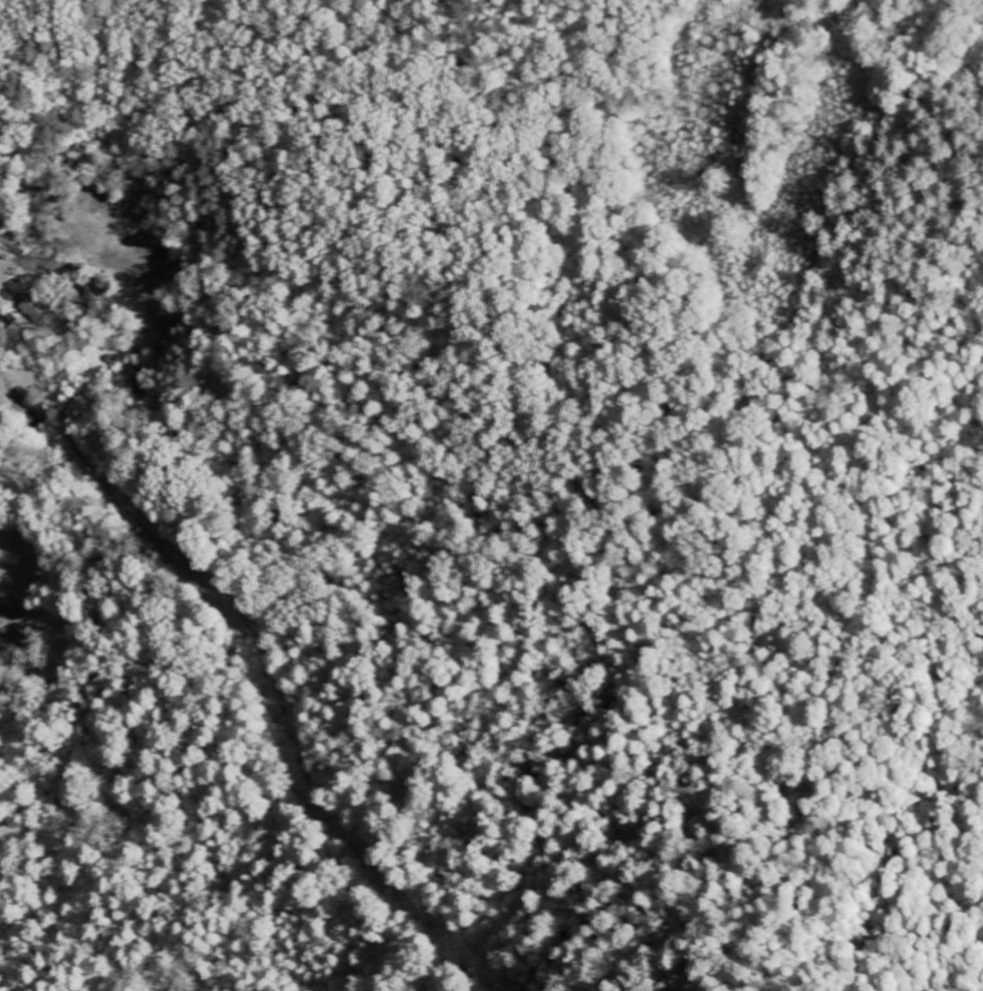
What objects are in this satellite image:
road: (0, 272)
road: (0, 273)
building: (34, 309)
building: (10, 323)

